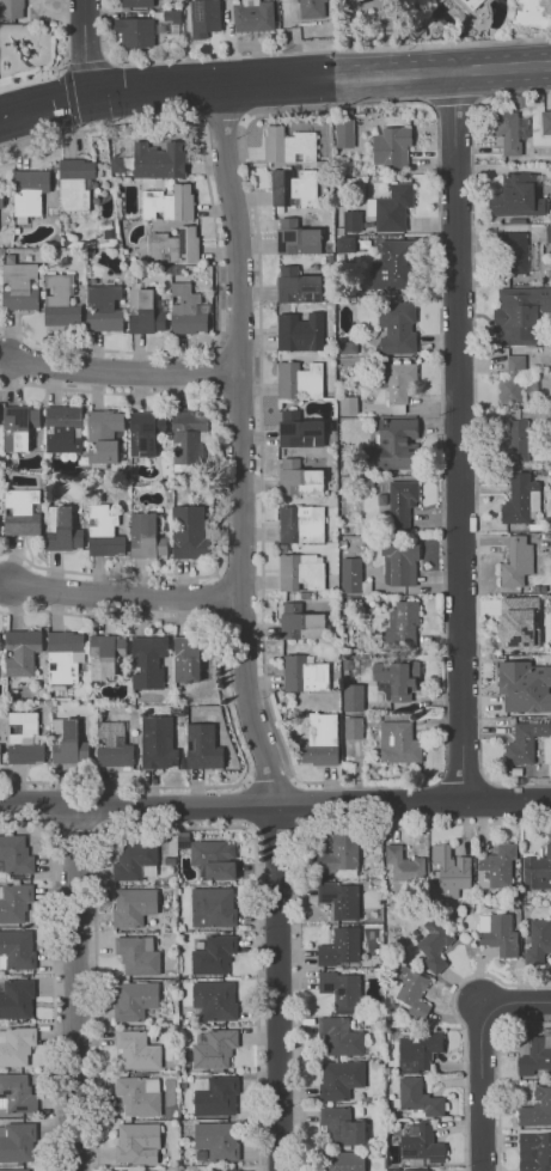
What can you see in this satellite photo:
building: (133, 2)
building: (471, 4)
building: (11, 8)
building: (310, 8)
building: (532, 12)
building: (252, 14)
building: (204, 17)
building: (134, 30)
road: (66, 33)
road: (84, 45)
road: (65, 73)
road: (320, 78)
road: (32, 79)
traffic signals: (91, 92)
road: (44, 99)
road: (452, 99)
road: (222, 120)
building: (545, 122)
building: (507, 132)
building: (344, 133)
building: (289, 146)
building: (391, 146)
building: (160, 160)
building: (123, 165)
building: (550, 165)
building: (75, 183)
building: (294, 189)
building: (29, 193)
building: (516, 196)
building: (1, 200)
building: (170, 203)
building: (393, 207)
building: (351, 220)
building: (18, 231)
building: (549, 233)
building: (296, 238)
road: (216, 242)
building: (344, 244)
building: (175, 246)
building: (510, 252)
building: (331, 258)
building: (396, 263)
building: (167, 269)
building: (177, 269)
building: (299, 286)
building: (20, 287)
building: (61, 300)
building: (104, 309)
building: (145, 311)
building: (188, 311)
building: (519, 312)
building: (396, 328)
building: (301, 333)
road: (122, 371)
building: (300, 380)
building: (399, 380)
building: (510, 380)
road: (261, 413)
building: (19, 426)
building: (65, 429)
building: (300, 431)
building: (146, 433)
road: (458, 433)
building: (105, 435)
road: (475, 435)
building: (189, 438)
building: (335, 438)
building: (519, 440)
building: (397, 441)
road: (440, 457)
building: (177, 475)
building: (299, 478)
road: (221, 487)
building: (402, 496)
building: (518, 498)
building: (23, 512)
building: (302, 525)
building: (62, 530)
building: (104, 532)
building: (191, 532)
building: (148, 536)
building: (283, 548)
building: (516, 561)
building: (399, 563)
building: (301, 572)
building: (351, 574)
road: (125, 594)
building: (292, 596)
building: (516, 622)
building: (301, 623)
building: (400, 626)
road: (243, 629)
building: (23, 652)
building: (106, 655)
building: (190, 657)
building: (65, 658)
building: (149, 661)
building: (347, 664)
building: (305, 675)
building: (398, 677)
building: (333, 684)
building: (525, 685)
building: (178, 689)
building: (353, 697)
building: (146, 709)
building: (178, 710)
road: (231, 715)
building: (295, 718)
building: (353, 727)
building: (25, 739)
building: (322, 739)
building: (525, 742)
building: (68, 743)
building: (159, 743)
building: (398, 743)
building: (115, 745)
building: (203, 748)
building: (0, 754)
road: (271, 780)
road: (461, 782)
road: (507, 797)
road: (251, 803)
road: (296, 803)
road: (231, 804)
road: (277, 825)
road: (74, 829)
building: (183, 838)
building: (336, 854)
building: (16, 855)
building: (214, 859)
building: (136, 861)
building: (496, 866)
building: (405, 867)
building: (537, 870)
building: (449, 871)
road: (298, 876)
building: (339, 898)
building: (14, 902)
building: (134, 907)
building: (213, 908)
building: (1, 928)
building: (500, 934)
building: (538, 940)
building: (434, 944)
building: (339, 946)
building: (17, 950)
building: (139, 956)
building: (214, 956)
road: (96, 960)
road: (256, 963)
road: (54, 974)
road: (76, 988)
building: (341, 990)
building: (411, 990)
building: (16, 999)
building: (215, 1000)
building: (135, 1001)
road: (515, 1001)
road: (460, 1026)
building: (339, 1036)
building: (17, 1047)
building: (421, 1047)
building: (214, 1049)
building: (137, 1050)
building: (535, 1051)
road: (496, 1071)
building: (339, 1079)
road: (479, 1086)
building: (16, 1094)
building: (139, 1096)
building: (215, 1096)
building: (417, 1097)
building: (535, 1108)
building: (341, 1126)
building: (17, 1142)
building: (216, 1142)
building: (421, 1143)
building: (140, 1145)
building: (534, 1151)
building: (343, 1160)
building: (136, 1169)
building: (206, 1169)
building: (14, 1170)
building: (222, 1170)
building: (415, 1170)

